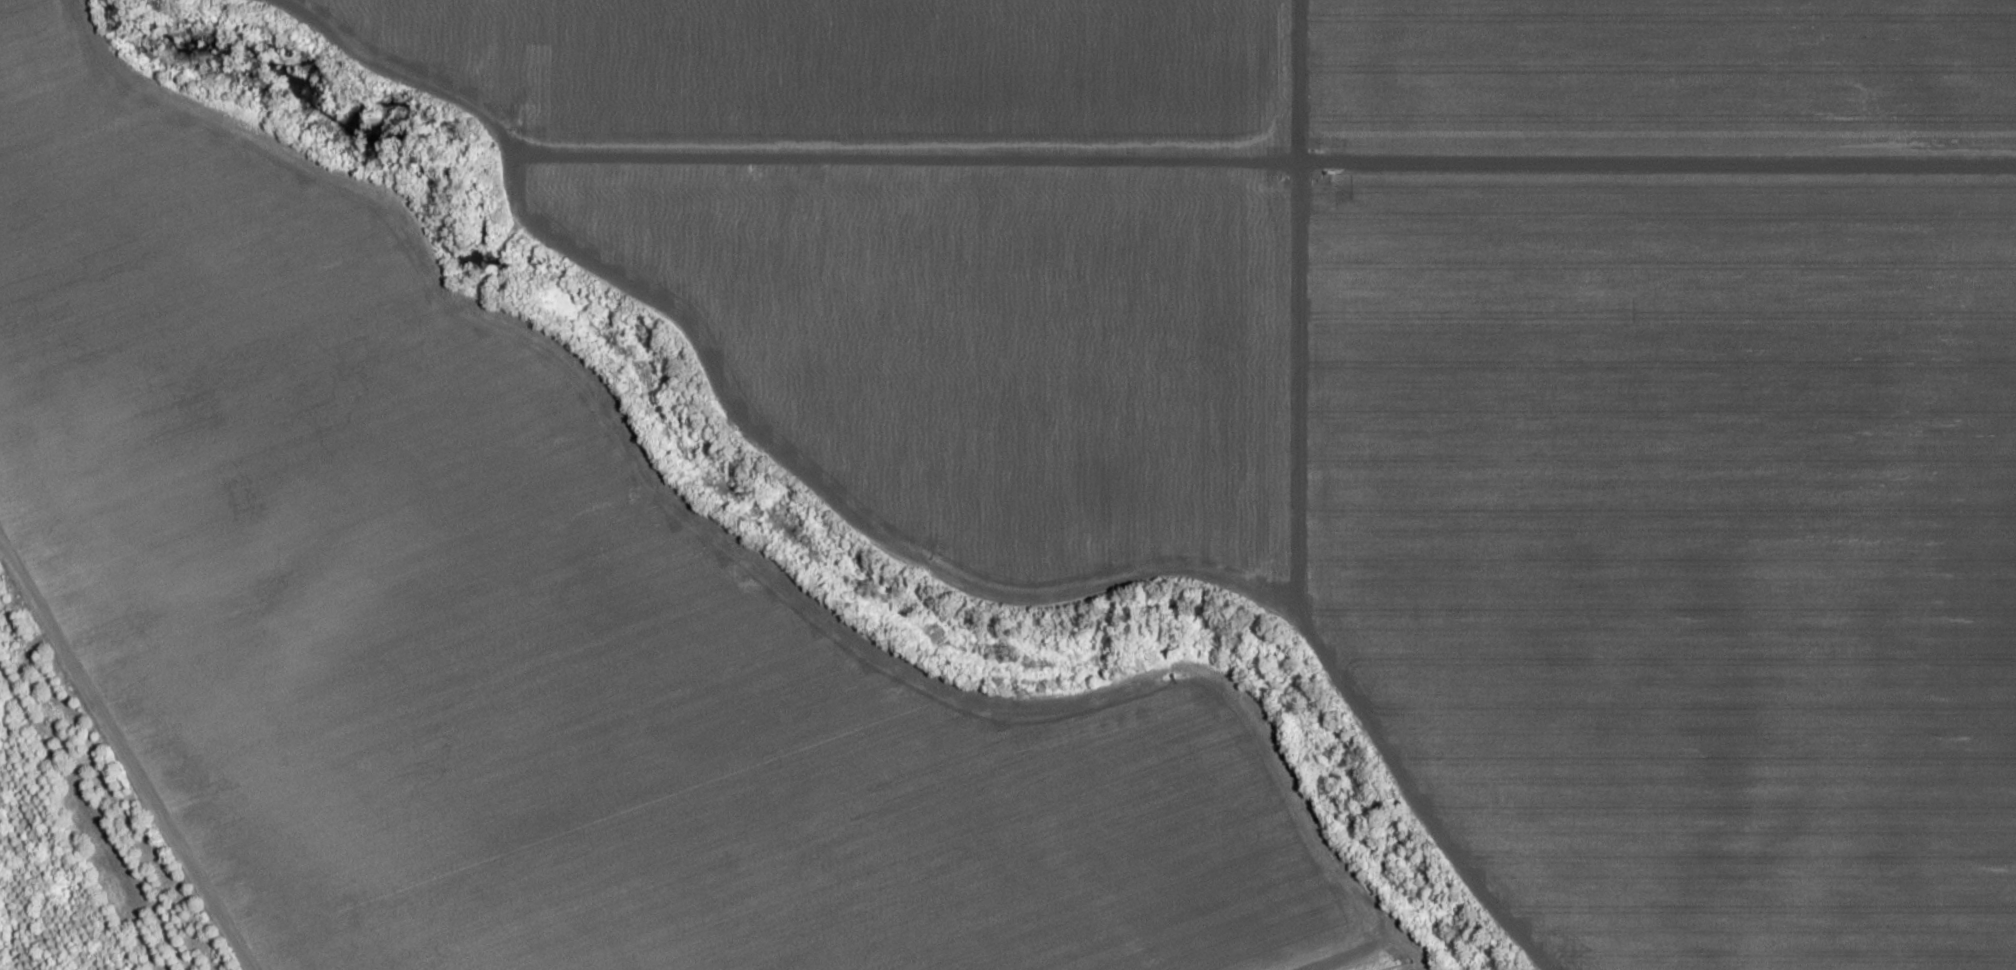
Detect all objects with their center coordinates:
road: (123, 759)
road: (1329, 962)

